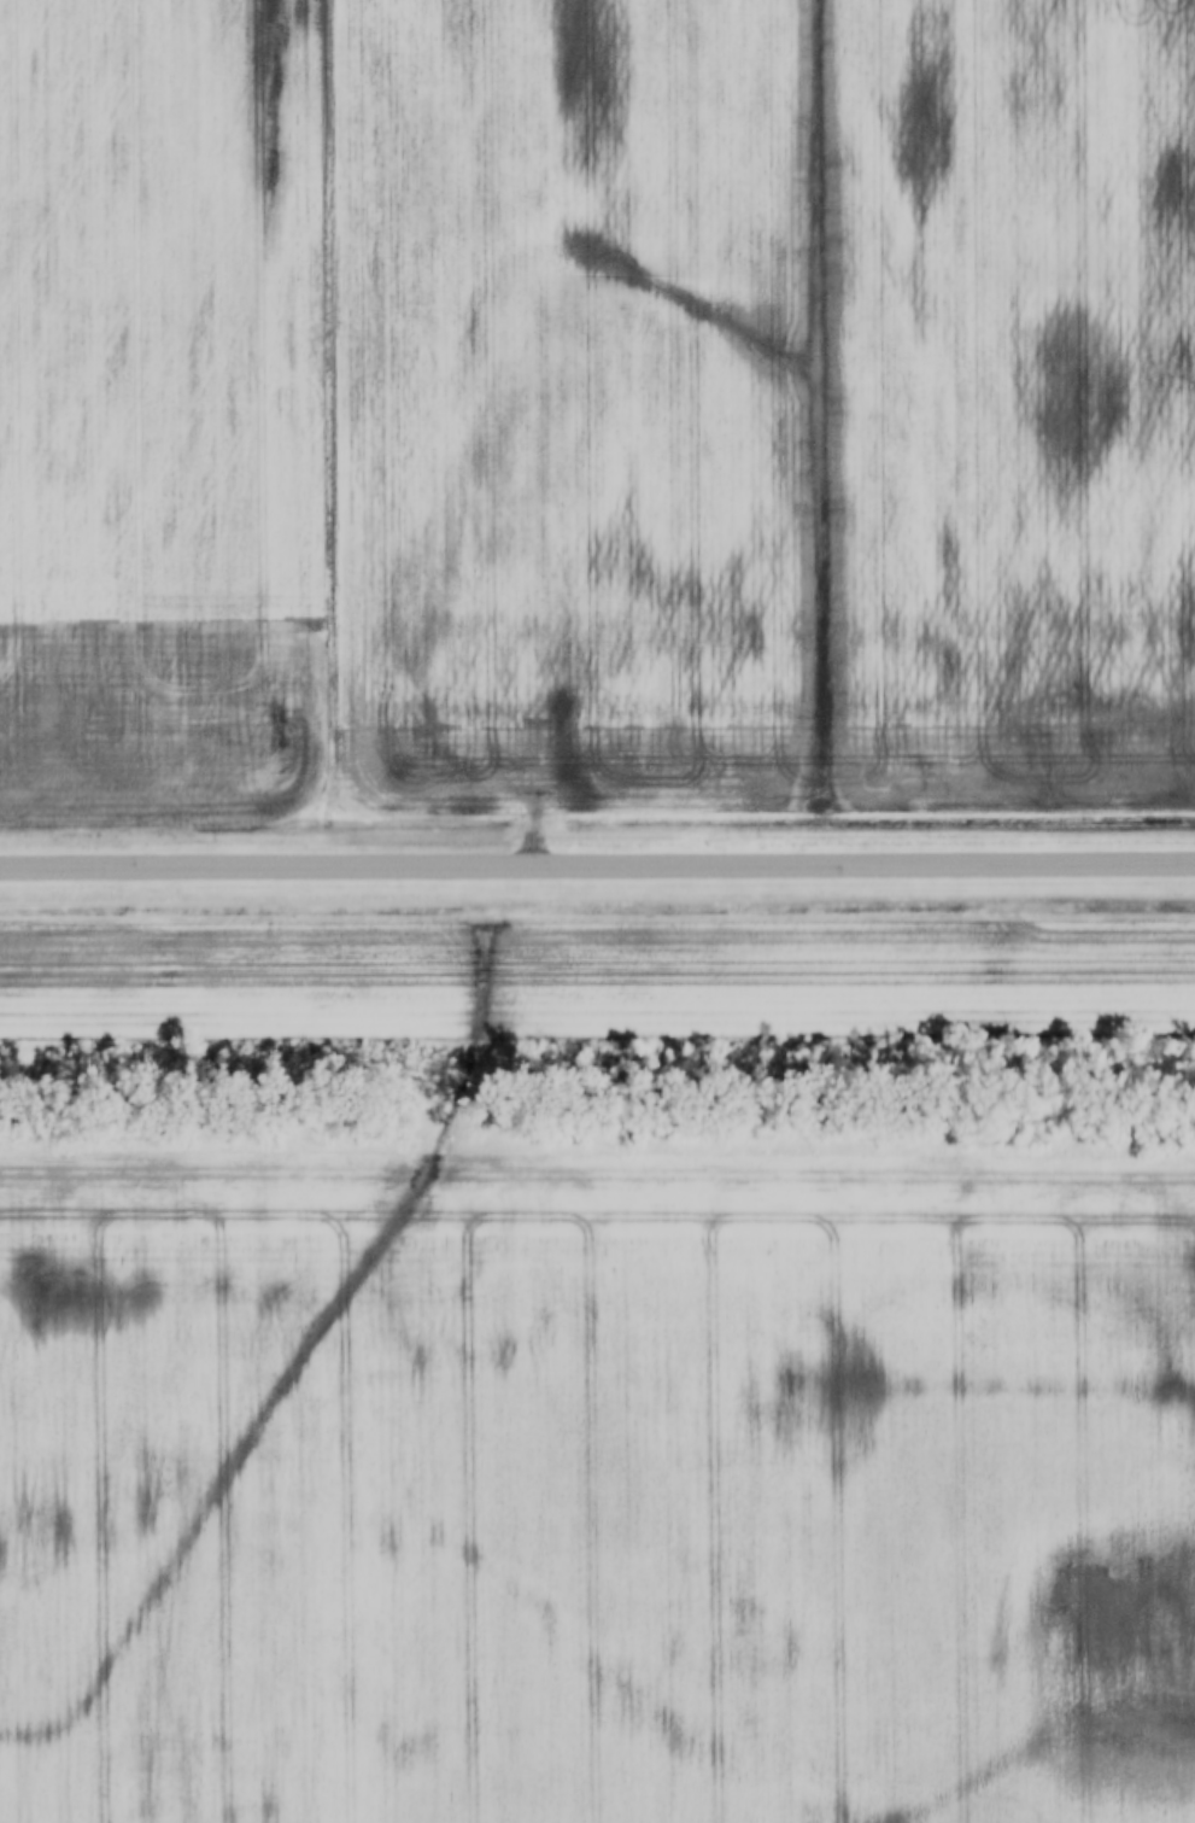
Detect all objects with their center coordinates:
road: (597, 870)

